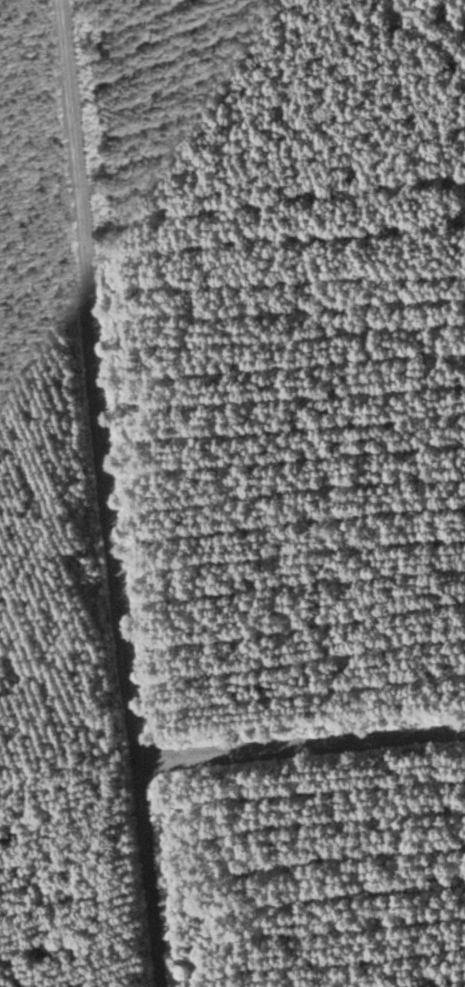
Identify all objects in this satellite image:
road: (114, 540)
road: (149, 871)

